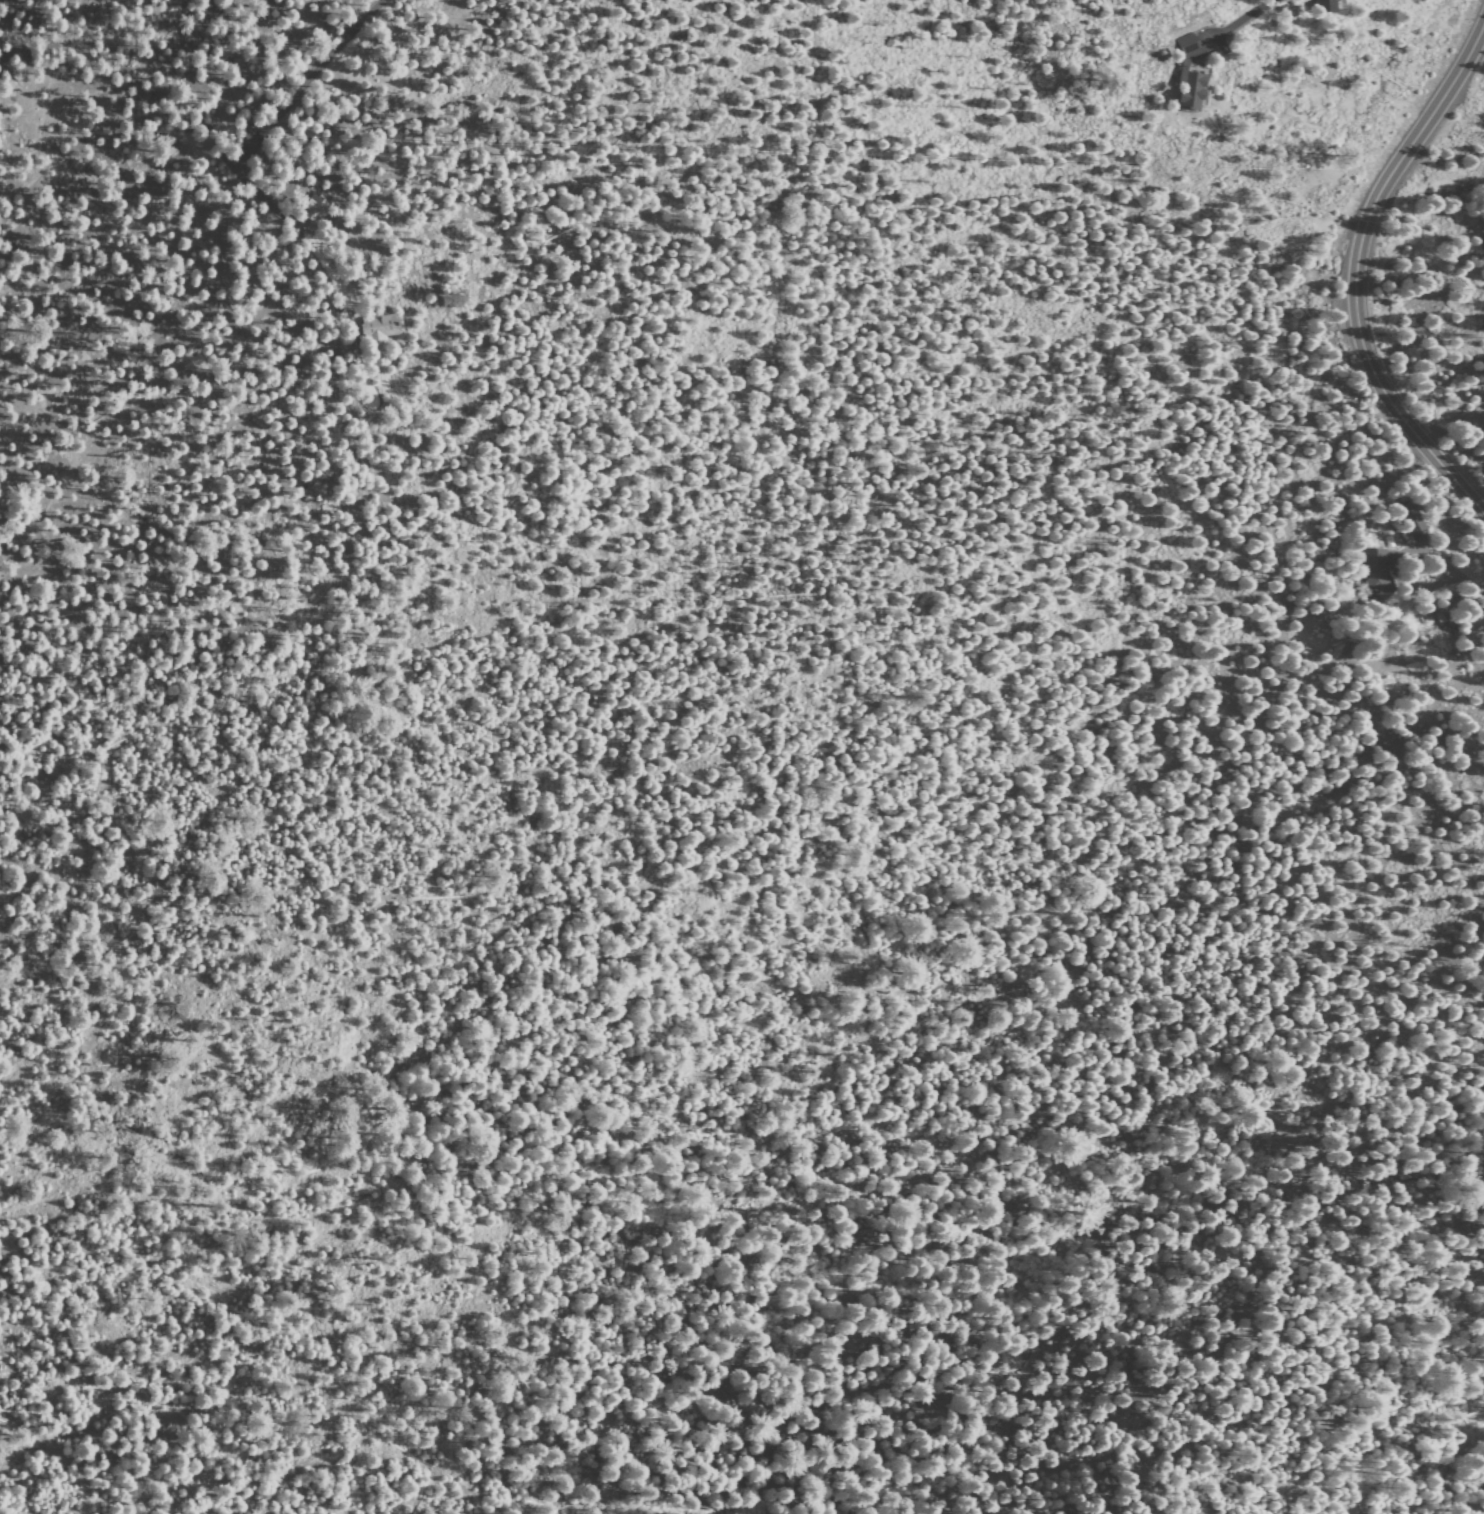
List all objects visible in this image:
building: (1323, 6)
road: (1236, 21)
building: (1185, 73)
road: (41, 146)
road: (236, 150)
building: (309, 209)
road: (1354, 270)
building: (376, 336)
building: (1409, 520)
road: (1448, 570)
building: (1372, 571)
road: (1425, 585)
building: (1438, 616)
road: (1127, 1228)
road: (798, 1488)

